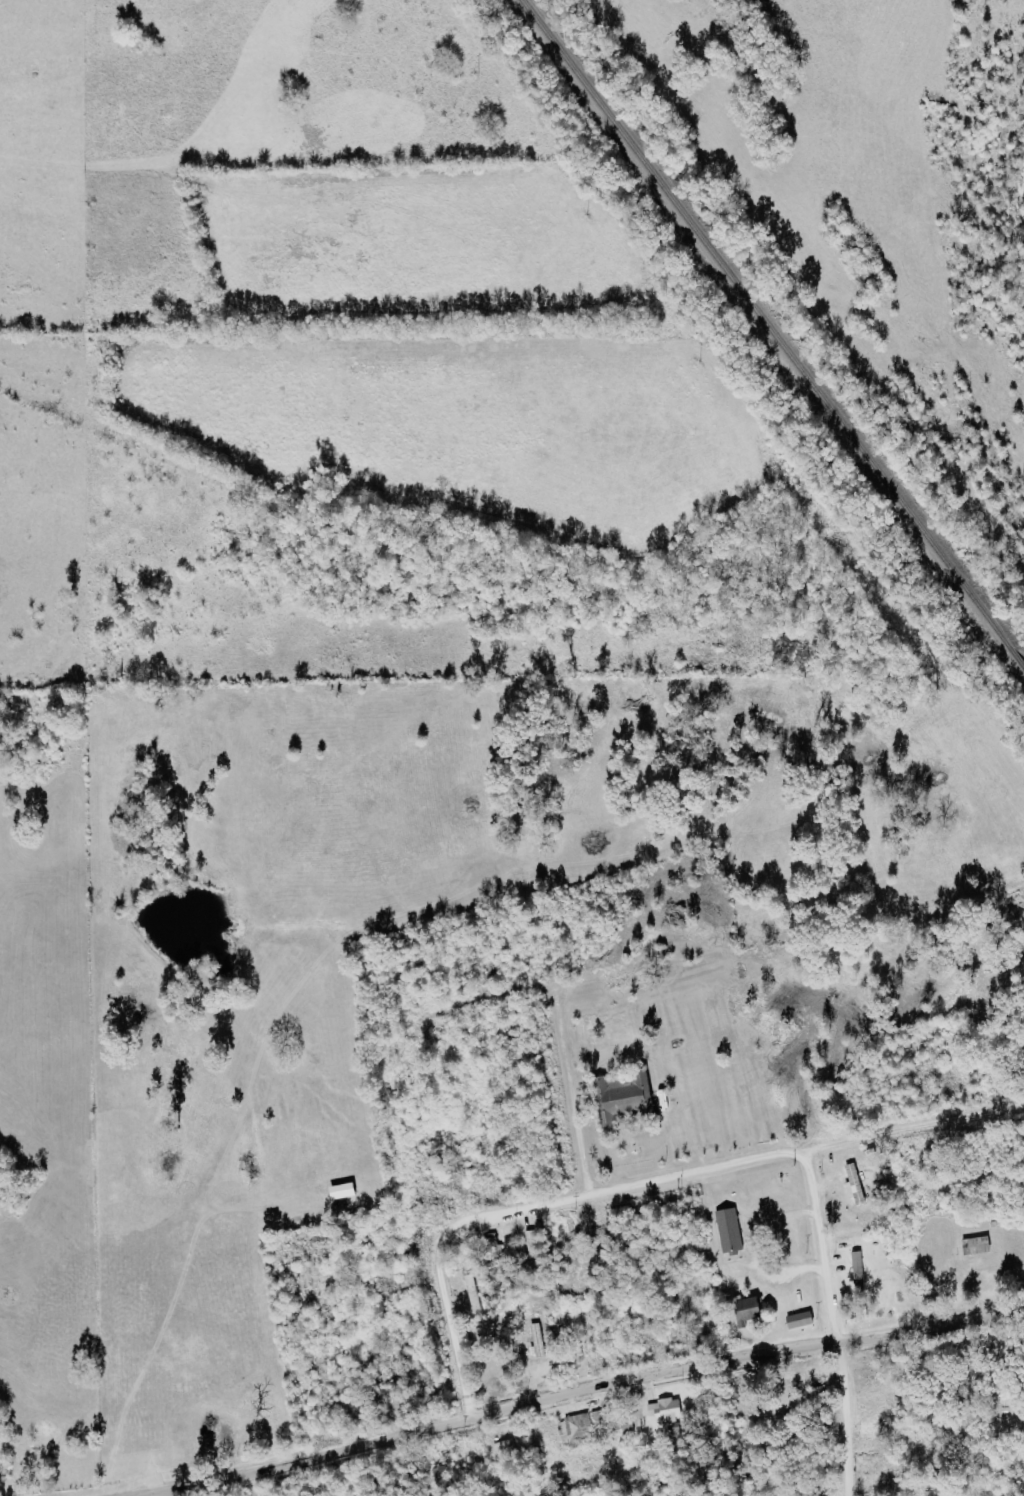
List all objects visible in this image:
railway: (762, 322)
railway: (1015, 658)
building: (621, 1094)
road: (568, 1096)
road: (638, 1181)
building: (854, 1184)
building: (728, 1229)
building: (492, 1245)
building: (976, 1245)
building: (747, 1309)
building: (799, 1320)
road: (829, 1322)
road: (575, 1391)
building: (665, 1410)
building: (574, 1428)
building: (439, 1478)
building: (993, 1493)

